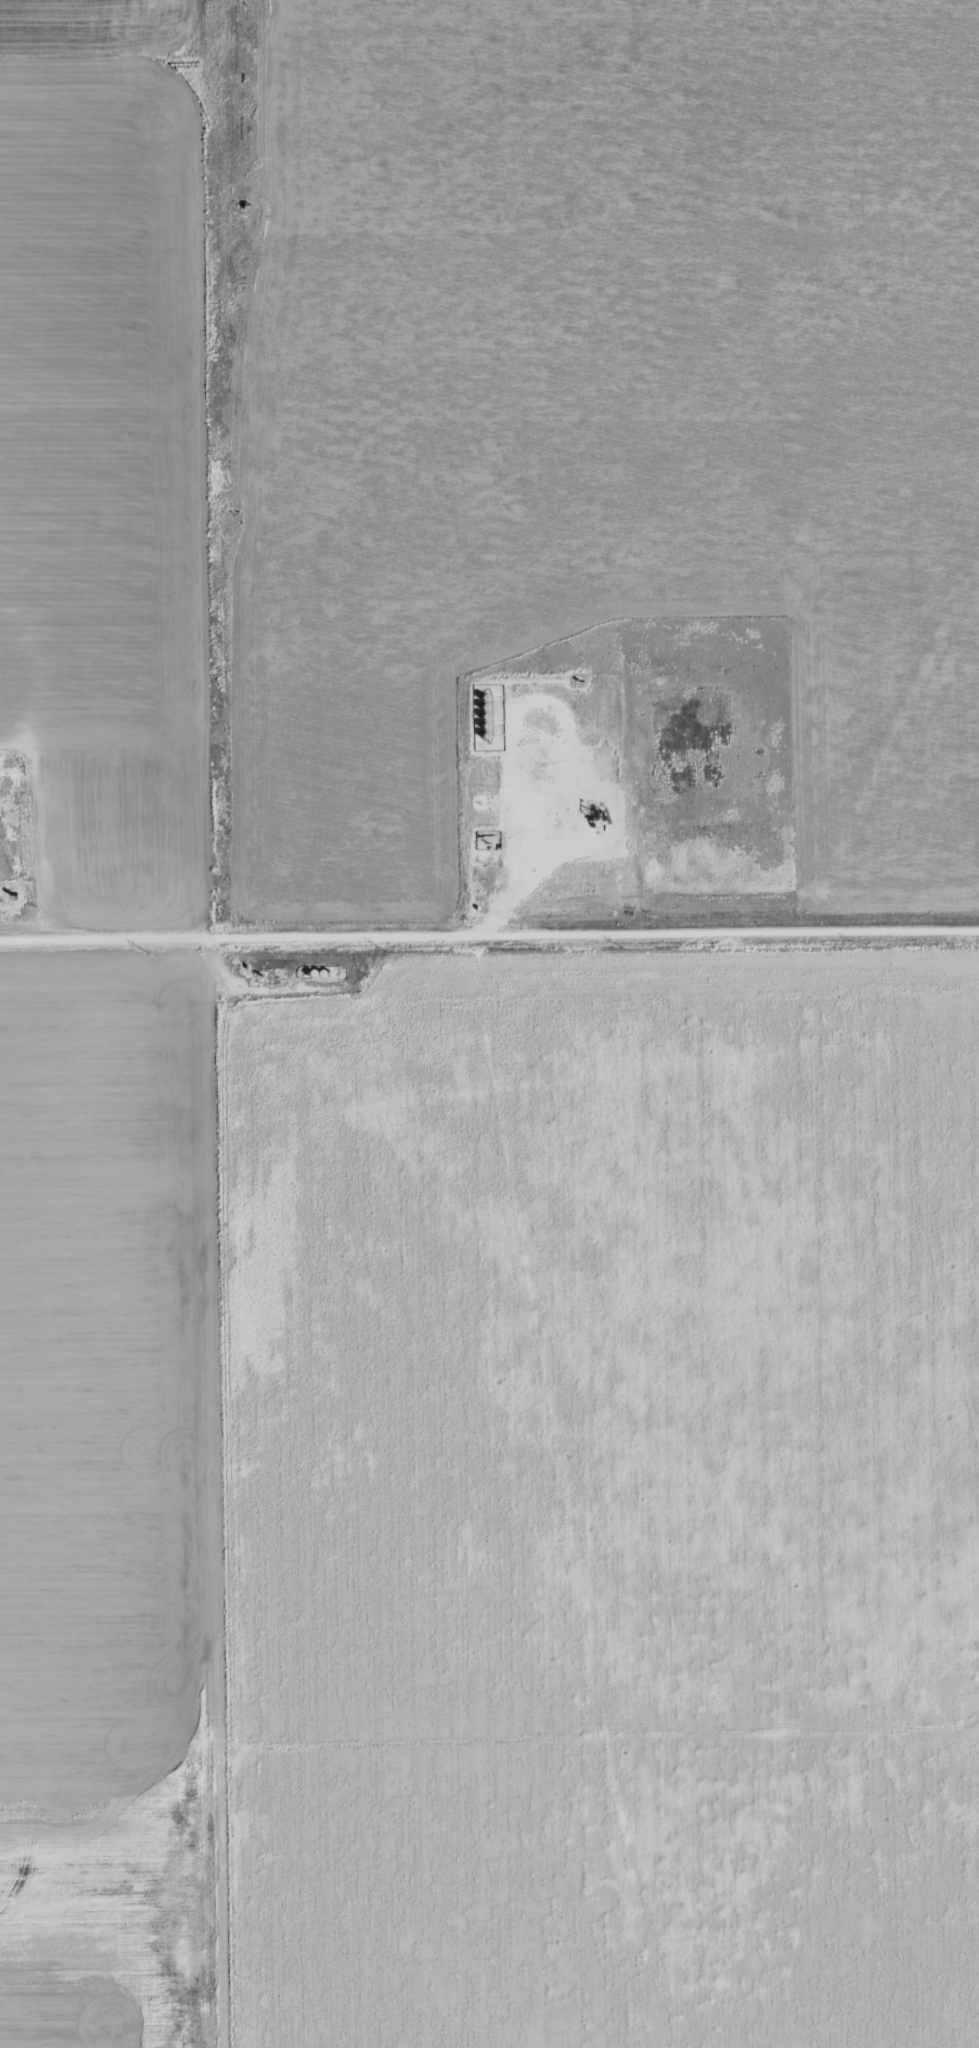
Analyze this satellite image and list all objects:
road: (235, 466)
road: (489, 931)

